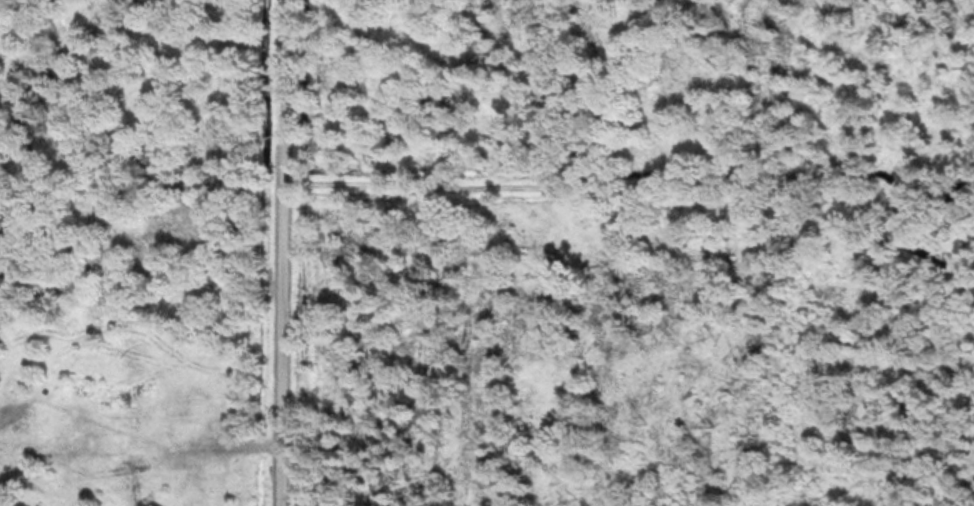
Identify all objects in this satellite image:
road: (279, 253)

